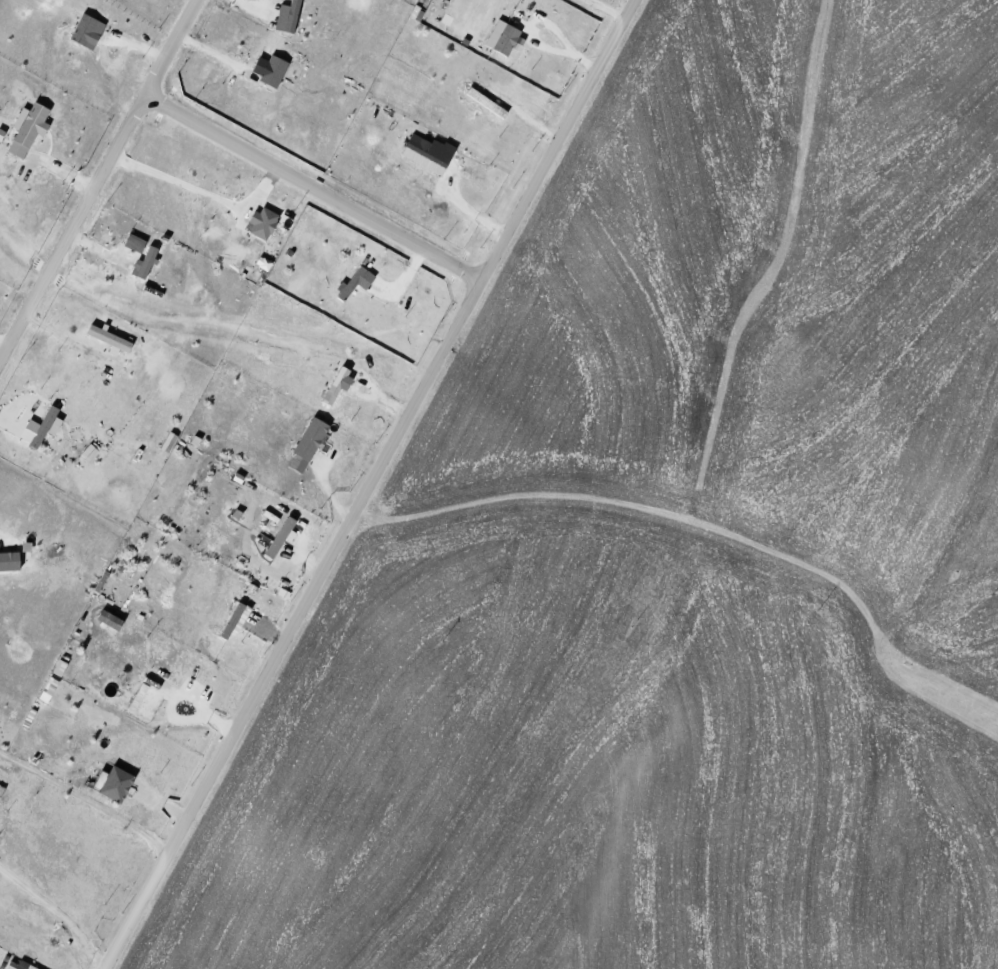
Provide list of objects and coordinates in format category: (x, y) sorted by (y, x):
building: (290, 16)
building: (86, 28)
building: (505, 36)
road: (175, 54)
building: (272, 69)
building: (30, 127)
building: (426, 154)
road: (200, 190)
road: (315, 200)
building: (265, 222)
building: (137, 241)
road: (73, 242)
building: (148, 262)
building: (357, 281)
building: (112, 339)
building: (340, 384)
building: (43, 427)
building: (313, 438)
building: (91, 451)
road: (373, 484)
building: (282, 537)
building: (11, 560)
building: (236, 618)
building: (112, 619)
building: (62, 667)
building: (148, 701)
building: (119, 784)
road: (58, 910)
building: (21, 965)

